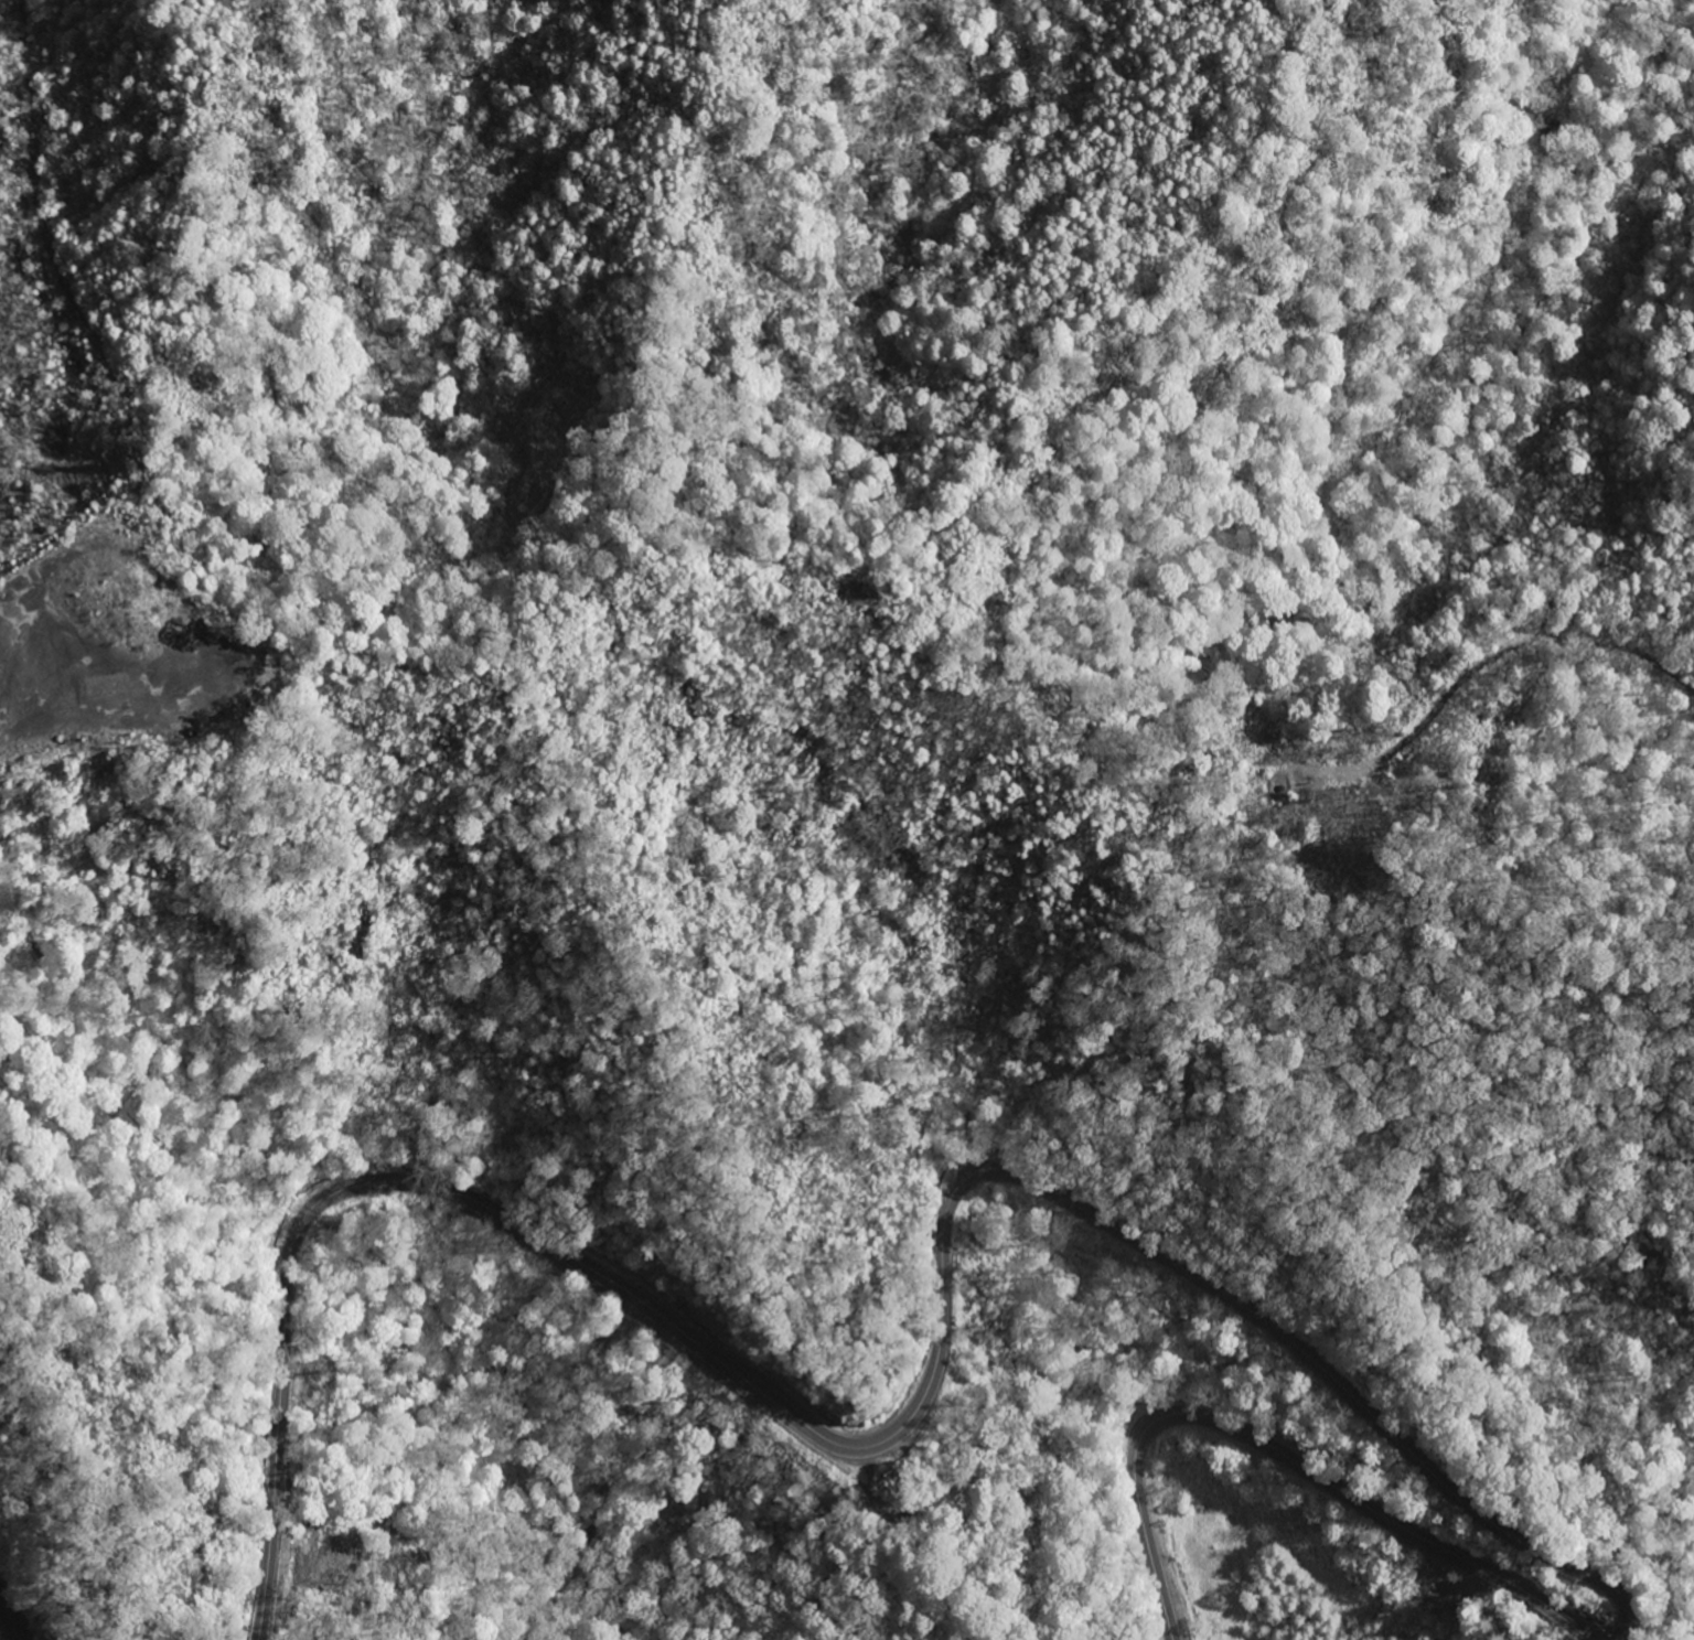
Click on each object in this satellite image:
road: (37, 564)
road: (1491, 658)
road: (1063, 1197)
road: (9, 1620)

